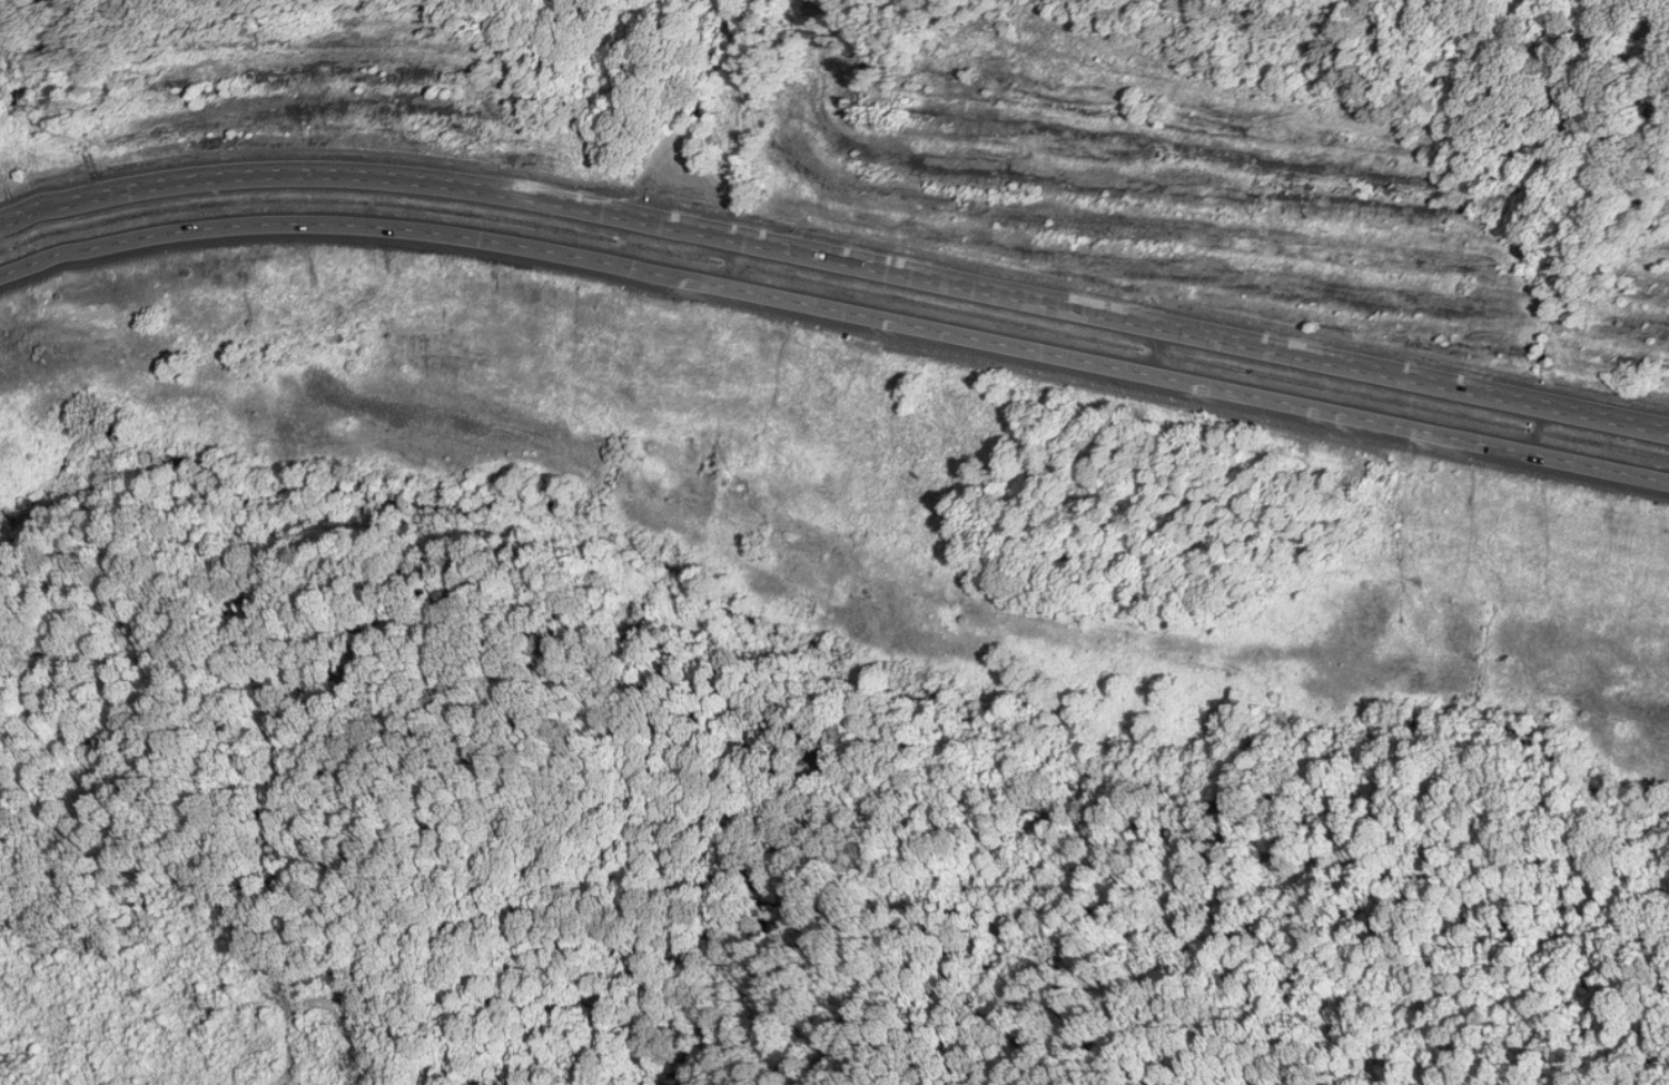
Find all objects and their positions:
road: (834, 257)
road: (834, 309)

